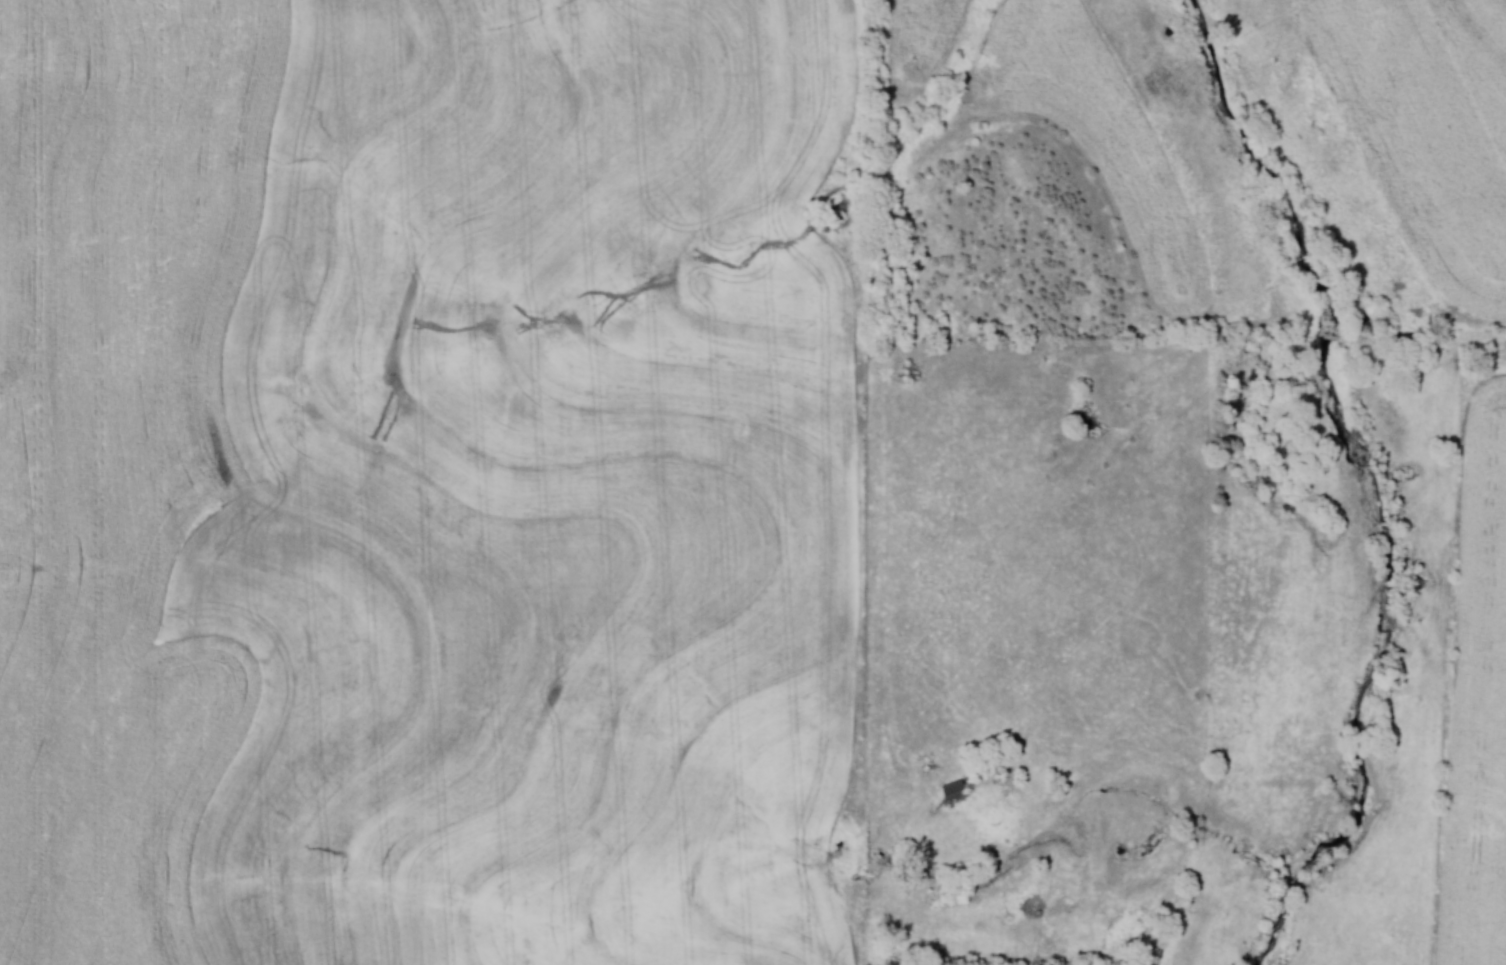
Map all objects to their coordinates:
building: (953, 788)

